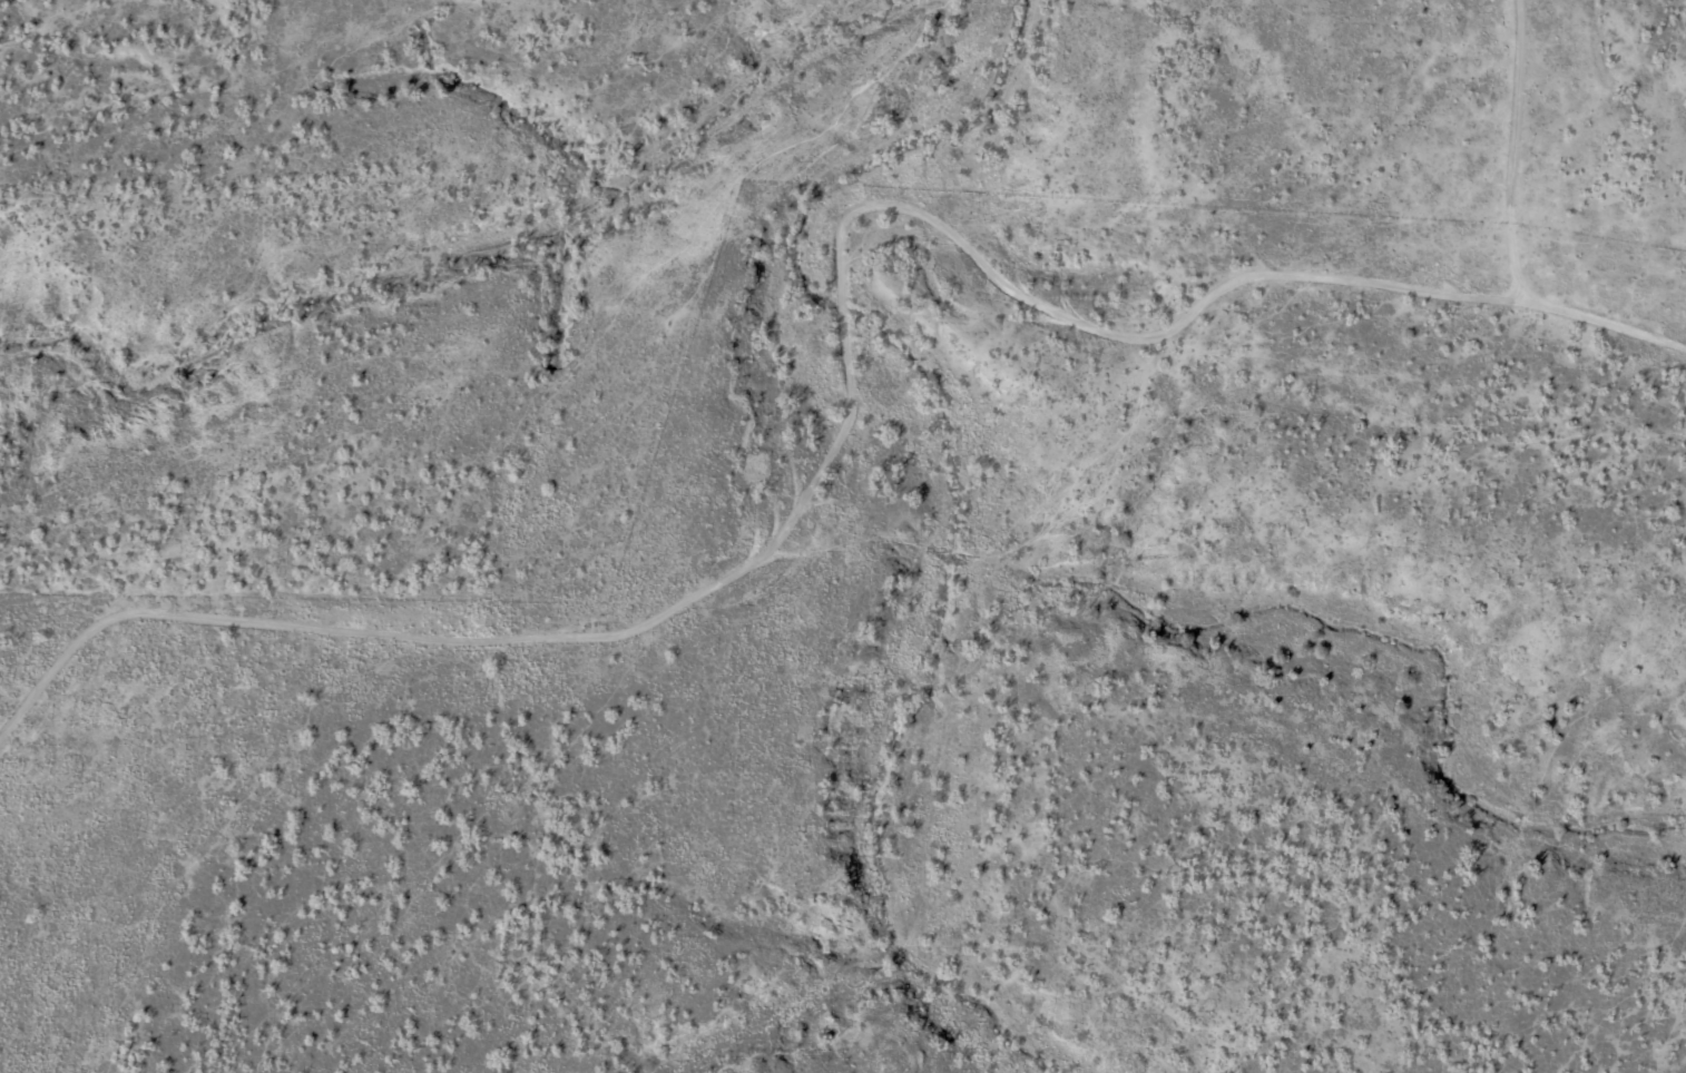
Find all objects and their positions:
road: (1517, 141)
road: (949, 460)

